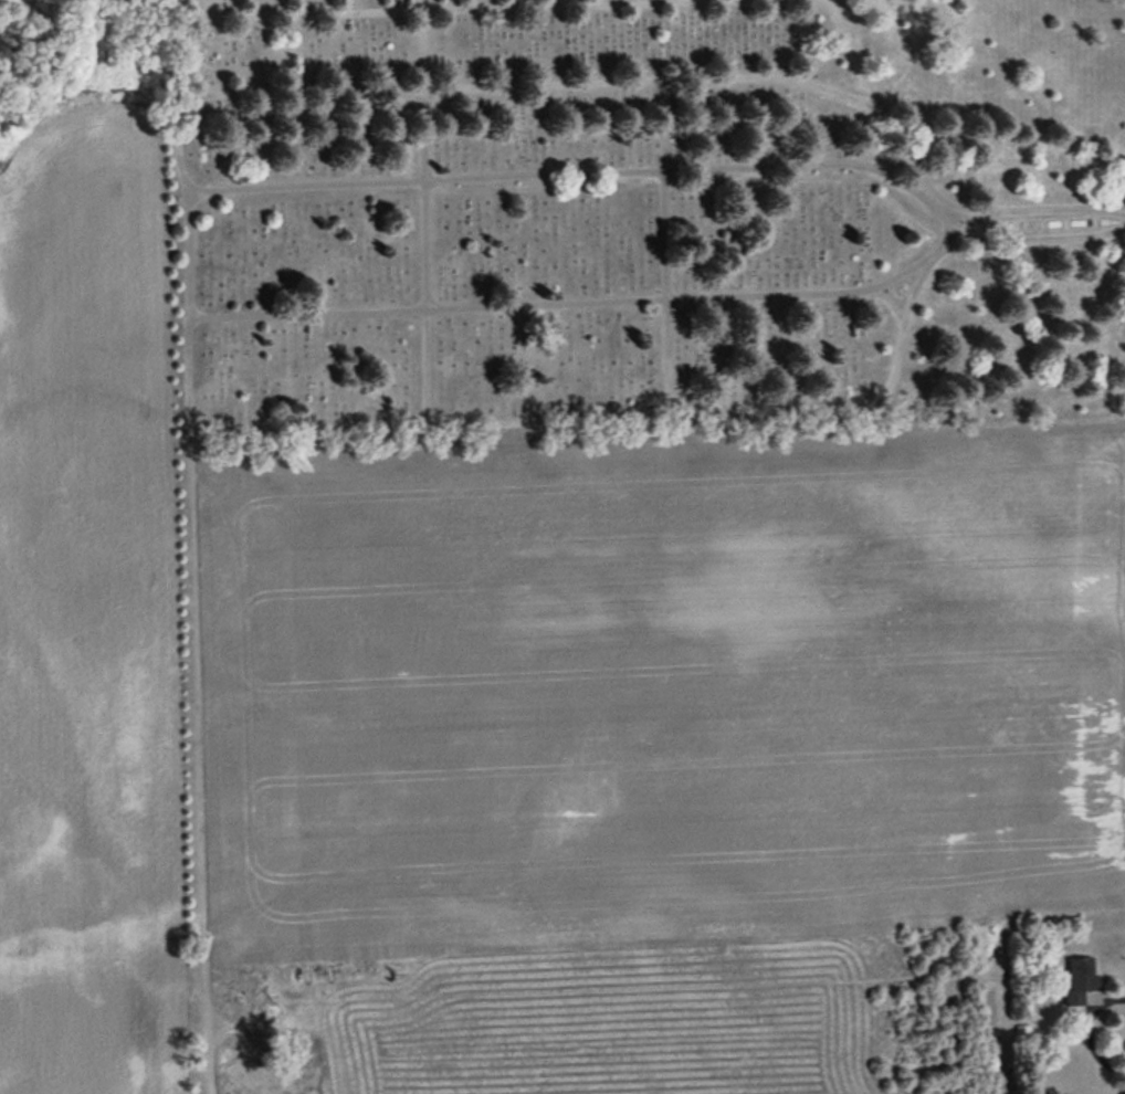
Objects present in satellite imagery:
park: (644, 214)
building: (1080, 978)

